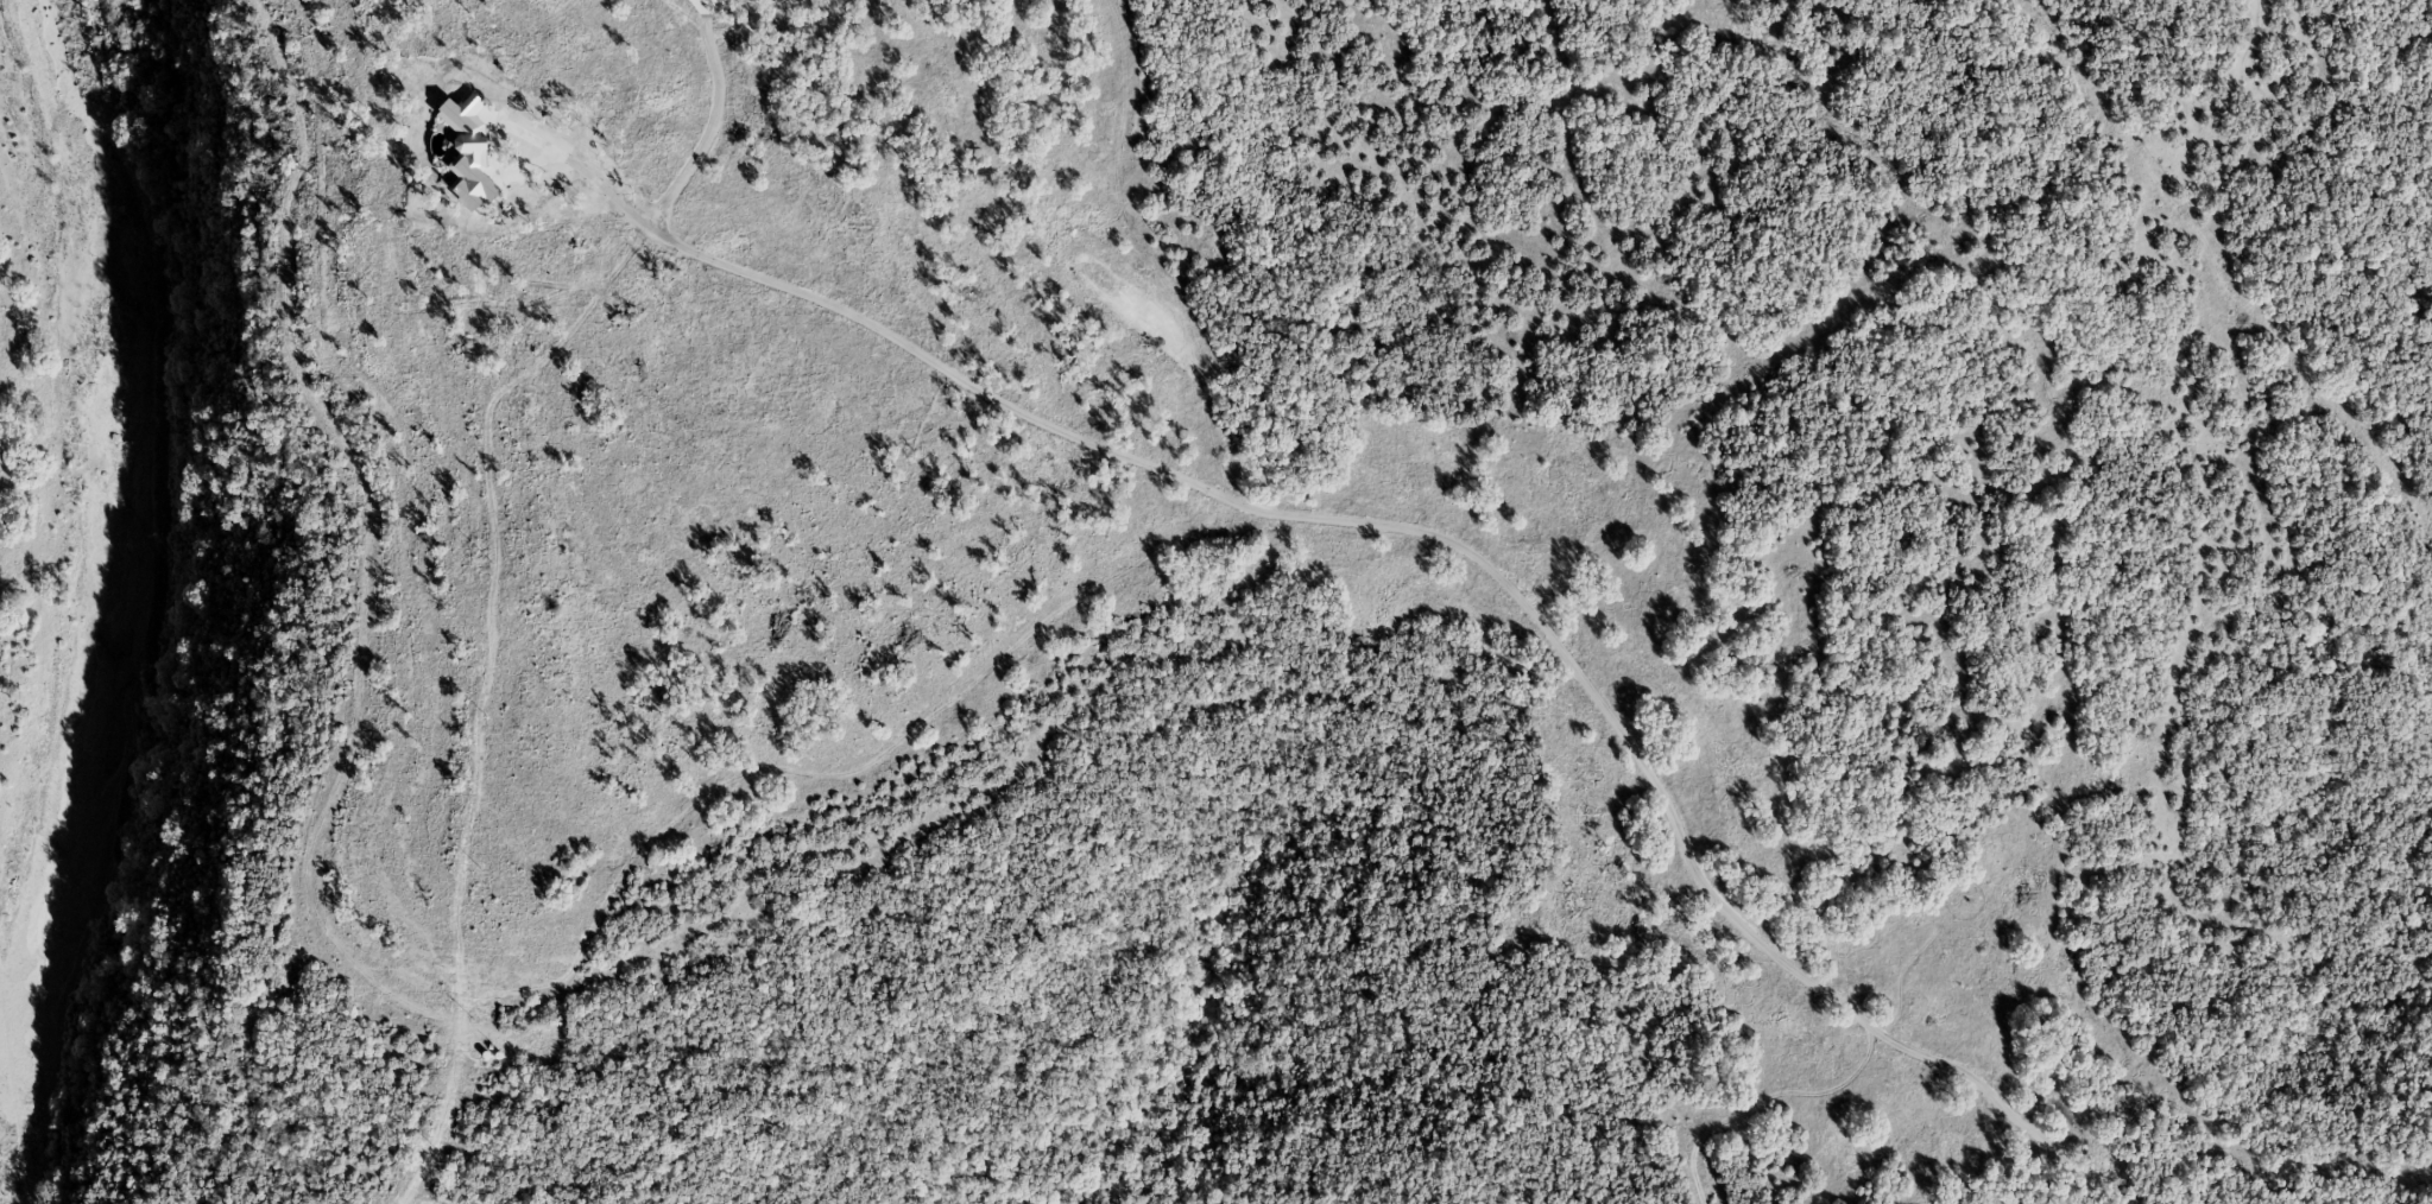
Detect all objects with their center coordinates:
building: (702, 5)
road: (713, 121)
building: (468, 152)
river: (108, 528)
road: (1423, 531)
road: (2335, 702)

